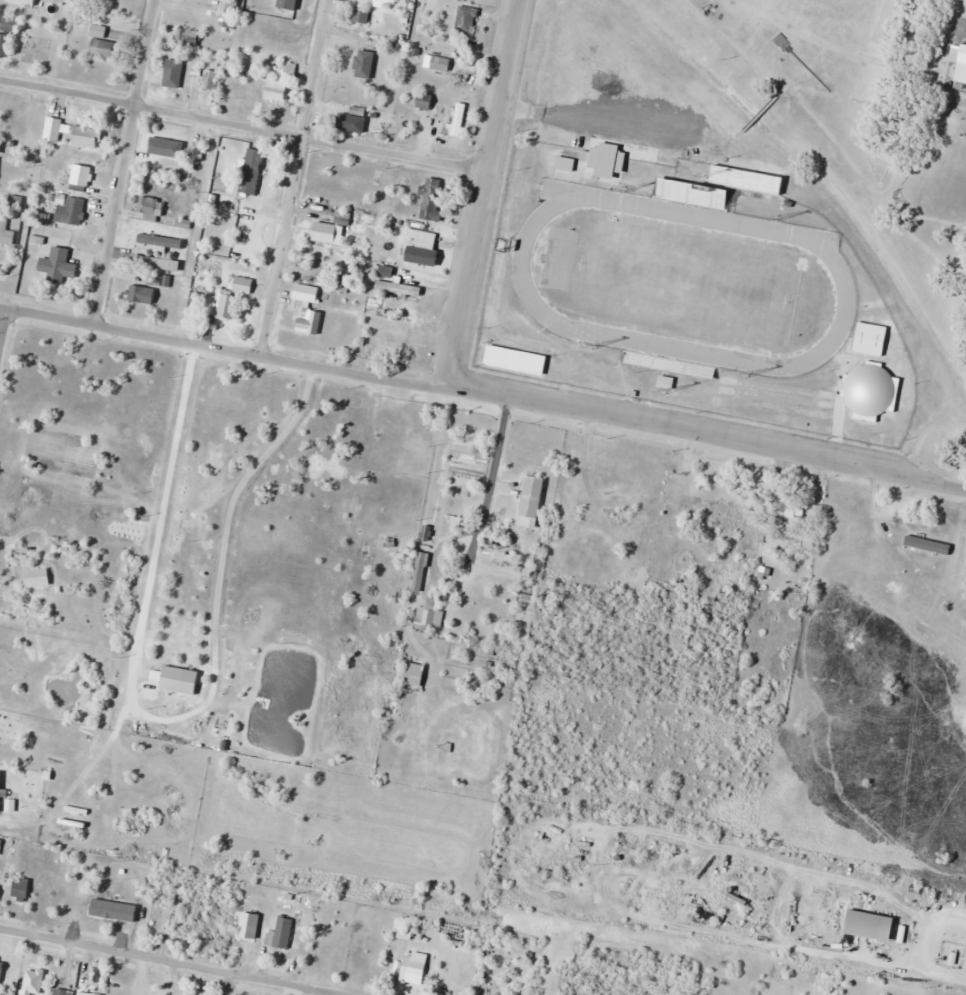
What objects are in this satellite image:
building: (388, 1)
building: (23, 2)
building: (361, 16)
building: (466, 20)
building: (98, 30)
building: (7, 37)
building: (187, 38)
building: (103, 47)
building: (41, 49)
building: (365, 64)
building: (441, 64)
building: (962, 66)
building: (184, 71)
building: (281, 84)
building: (425, 102)
building: (345, 122)
building: (457, 122)
road: (242, 124)
building: (51, 129)
building: (88, 137)
building: (198, 144)
building: (0, 147)
building: (165, 149)
road: (123, 162)
building: (566, 164)
building: (253, 171)
building: (81, 178)
road: (291, 178)
building: (748, 180)
building: (693, 192)
road: (481, 194)
building: (433, 199)
building: (151, 208)
building: (250, 208)
building: (71, 210)
building: (329, 229)
building: (6, 234)
building: (253, 240)
building: (424, 256)
building: (146, 260)
building: (58, 266)
track: (839, 276)
park: (683, 281)
building: (242, 284)
building: (400, 288)
building: (141, 295)
stadium: (690, 296)
building: (227, 306)
building: (307, 308)
road: (3, 328)
building: (870, 338)
building: (396, 341)
building: (515, 357)
building: (666, 365)
building: (667, 381)
road: (484, 396)
building: (525, 496)
building: (791, 507)
building: (726, 514)
building: (596, 536)
building: (928, 545)
building: (420, 571)
building: (30, 577)
building: (431, 611)
building: (415, 673)
building: (173, 680)
road: (167, 716)
building: (0, 791)
building: (31, 834)
building: (0, 887)
building: (22, 889)
building: (872, 924)
building: (249, 925)
building: (283, 933)
road: (174, 961)
building: (414, 968)
building: (33, 982)
building: (63, 992)

